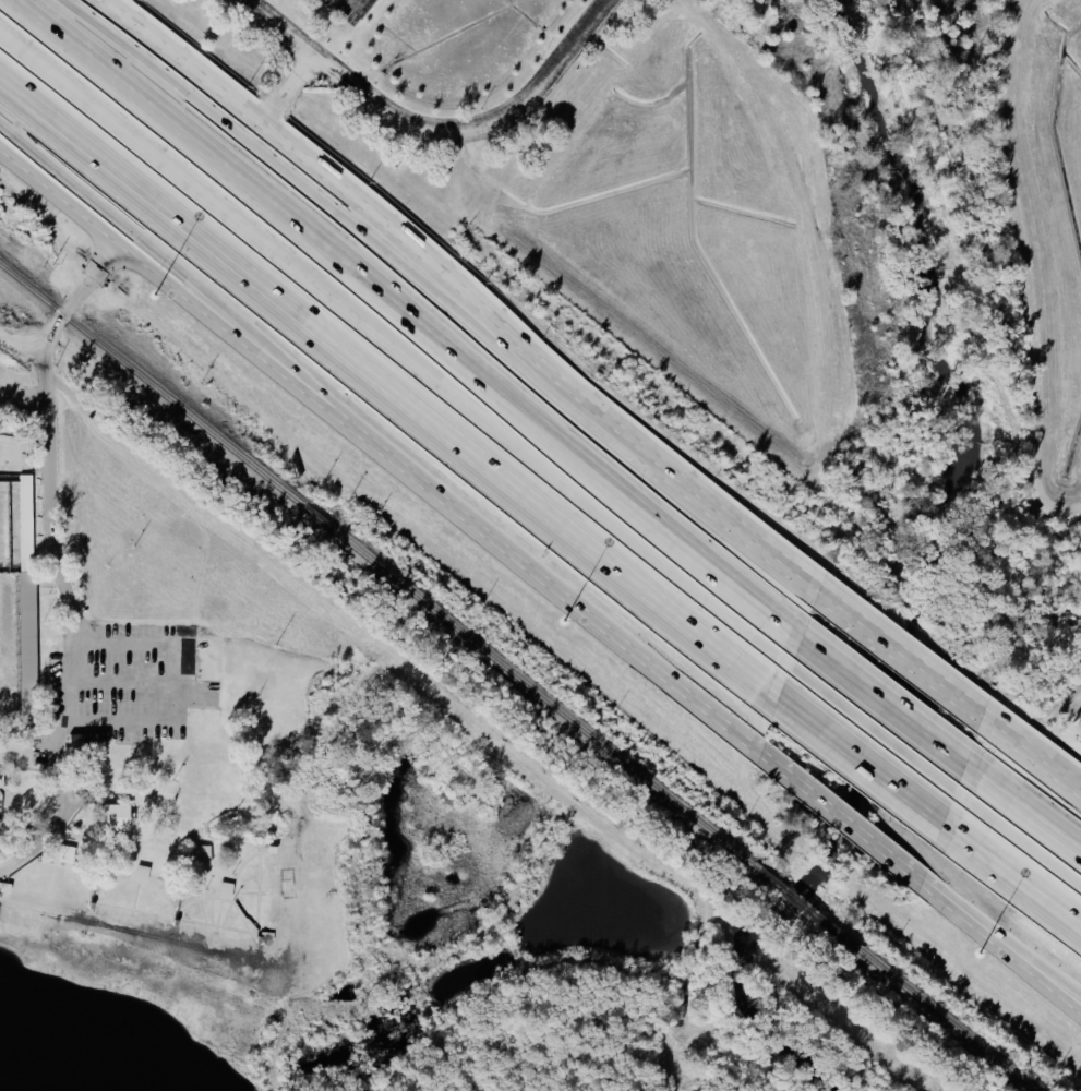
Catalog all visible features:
parking lot: (386, 22)
road: (580, 33)
road: (299, 45)
road: (287, 89)
road: (459, 127)
road: (104, 215)
road: (388, 228)
road: (361, 239)
road: (397, 336)
road: (20, 343)
road: (387, 385)
road: (381, 447)
road: (44, 469)
road: (741, 532)
river: (930, 568)
railway: (377, 572)
building: (28, 599)
road: (122, 645)
road: (897, 660)
road: (129, 686)
railway: (470, 715)
road: (877, 717)
road: (125, 722)
road: (861, 754)
road: (1030, 759)
building: (1, 781)
building: (118, 819)
road: (838, 820)
road: (1020, 822)
building: (68, 855)
road: (1012, 868)
railway: (803, 913)
road: (999, 944)
railway: (939, 1021)

